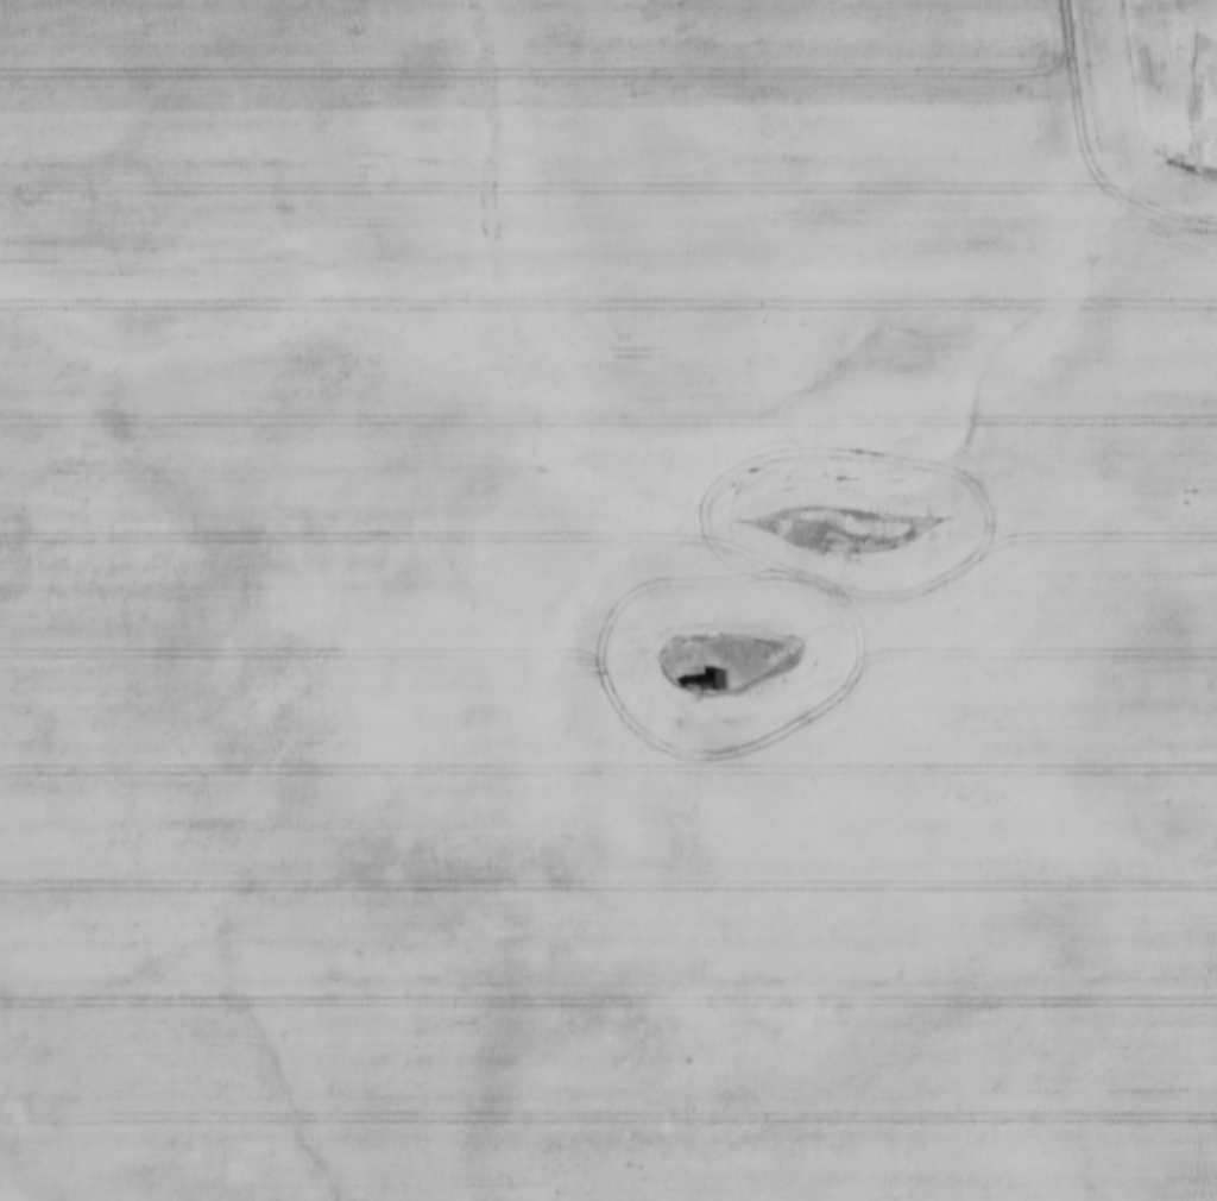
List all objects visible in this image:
building: (707, 685)

